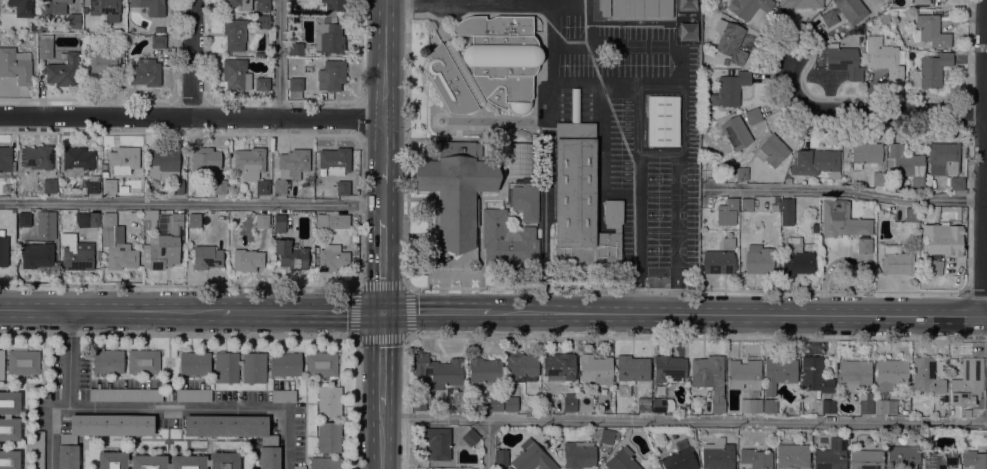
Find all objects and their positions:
building: (825, 1)
road: (401, 3)
building: (800, 3)
building: (920, 3)
building: (240, 4)
building: (262, 5)
road: (480, 5)
building: (58, 6)
building: (21, 7)
building: (150, 7)
building: (333, 7)
building: (748, 7)
building: (604, 8)
building: (641, 8)
building: (105, 9)
building: (844, 12)
building: (74, 21)
building: (262, 22)
building: (42, 29)
building: (157, 29)
building: (496, 29)
building: (929, 31)
building: (233, 33)
building: (328, 36)
building: (158, 41)
building: (729, 42)
building: (45, 44)
building: (295, 49)
road: (358, 50)
building: (258, 54)
building: (882, 57)
road: (190, 58)
road: (278, 58)
road: (386, 58)
building: (843, 61)
building: (102, 63)
building: (15, 65)
building: (931, 70)
building: (63, 71)
building: (144, 72)
building: (504, 72)
building: (464, 73)
building: (235, 74)
building: (331, 75)
building: (448, 83)
road: (593, 83)
building: (295, 84)
building: (262, 87)
building: (728, 89)
road: (863, 113)
road: (192, 116)
building: (753, 116)
road: (681, 120)
building: (663, 121)
building: (735, 132)
road: (385, 150)
building: (772, 150)
building: (865, 153)
building: (37, 157)
building: (942, 157)
building: (205, 158)
building: (6, 159)
building: (123, 159)
building: (334, 160)
building: (77, 161)
building: (815, 162)
building: (293, 163)
building: (162, 164)
building: (905, 164)
building: (251, 167)
building: (741, 174)
building: (878, 178)
road: (985, 179)
building: (787, 180)
building: (836, 180)
building: (92, 184)
building: (956, 185)
building: (49, 186)
building: (109, 186)
building: (177, 187)
building: (217, 187)
building: (279, 187)
building: (342, 188)
building: (122, 189)
road: (844, 190)
building: (455, 194)
building: (578, 195)
building: (525, 198)
road: (544, 198)
building: (775, 200)
road: (385, 201)
road: (192, 203)
building: (746, 204)
building: (786, 205)
building: (773, 207)
building: (732, 212)
building: (612, 213)
building: (910, 215)
building: (23, 219)
building: (86, 219)
road: (636, 219)
building: (193, 220)
building: (331, 220)
building: (841, 220)
building: (261, 221)
building: (782, 222)
building: (279, 223)
building: (617, 230)
road: (676, 234)
building: (162, 239)
building: (943, 239)
building: (505, 240)
building: (728, 243)
building: (116, 245)
building: (864, 245)
building: (3, 250)
building: (36, 255)
building: (290, 255)
building: (77, 256)
building: (206, 257)
building: (247, 257)
building: (331, 258)
building: (796, 258)
building: (758, 259)
building: (896, 260)
building: (354, 261)
building: (717, 262)
road: (383, 266)
building: (932, 267)
road: (357, 286)
road: (633, 300)
road: (110, 311)
road: (301, 313)
traffic signals: (382, 313)
road: (434, 313)
road: (736, 316)
road: (381, 359)
building: (108, 361)
building: (143, 361)
building: (23, 362)
building: (194, 363)
building: (284, 364)
building: (320, 364)
building: (1, 365)
building: (520, 367)
building: (559, 367)
building: (226, 368)
building: (253, 368)
building: (594, 368)
building: (668, 369)
building: (438, 370)
building: (483, 371)
building: (630, 372)
building: (777, 373)
building: (743, 374)
building: (890, 374)
building: (814, 375)
building: (853, 375)
building: (925, 376)
building: (709, 379)
building: (966, 381)
building: (124, 394)
building: (193, 395)
building: (283, 396)
building: (458, 398)
building: (329, 401)
road: (403, 402)
building: (418, 402)
building: (569, 402)
road: (356, 403)
building: (495, 403)
building: (751, 403)
building: (510, 404)
building: (584, 404)
building: (661, 404)
building: (865, 404)
building: (643, 405)
building: (769, 406)
building: (827, 406)
road: (158, 407)
building: (884, 407)
building: (459, 409)
building: (9, 416)
road: (684, 418)
road: (50, 428)
building: (98, 433)
building: (237, 433)
building: (602, 435)
building: (927, 436)
building: (328, 437)
road: (380, 437)
building: (470, 437)
road: (486, 443)
building: (438, 444)
building: (37, 449)
building: (578, 454)
building: (718, 455)
building: (831, 455)
building: (792, 456)
building: (501, 457)
building: (531, 457)
building: (903, 457)
building: (679, 458)
building: (756, 458)
building: (9, 459)
building: (866, 459)
building: (940, 459)
building: (974, 459)
building: (621, 460)
building: (132, 461)
building: (325, 462)
building: (299, 467)
building: (509, 468)

